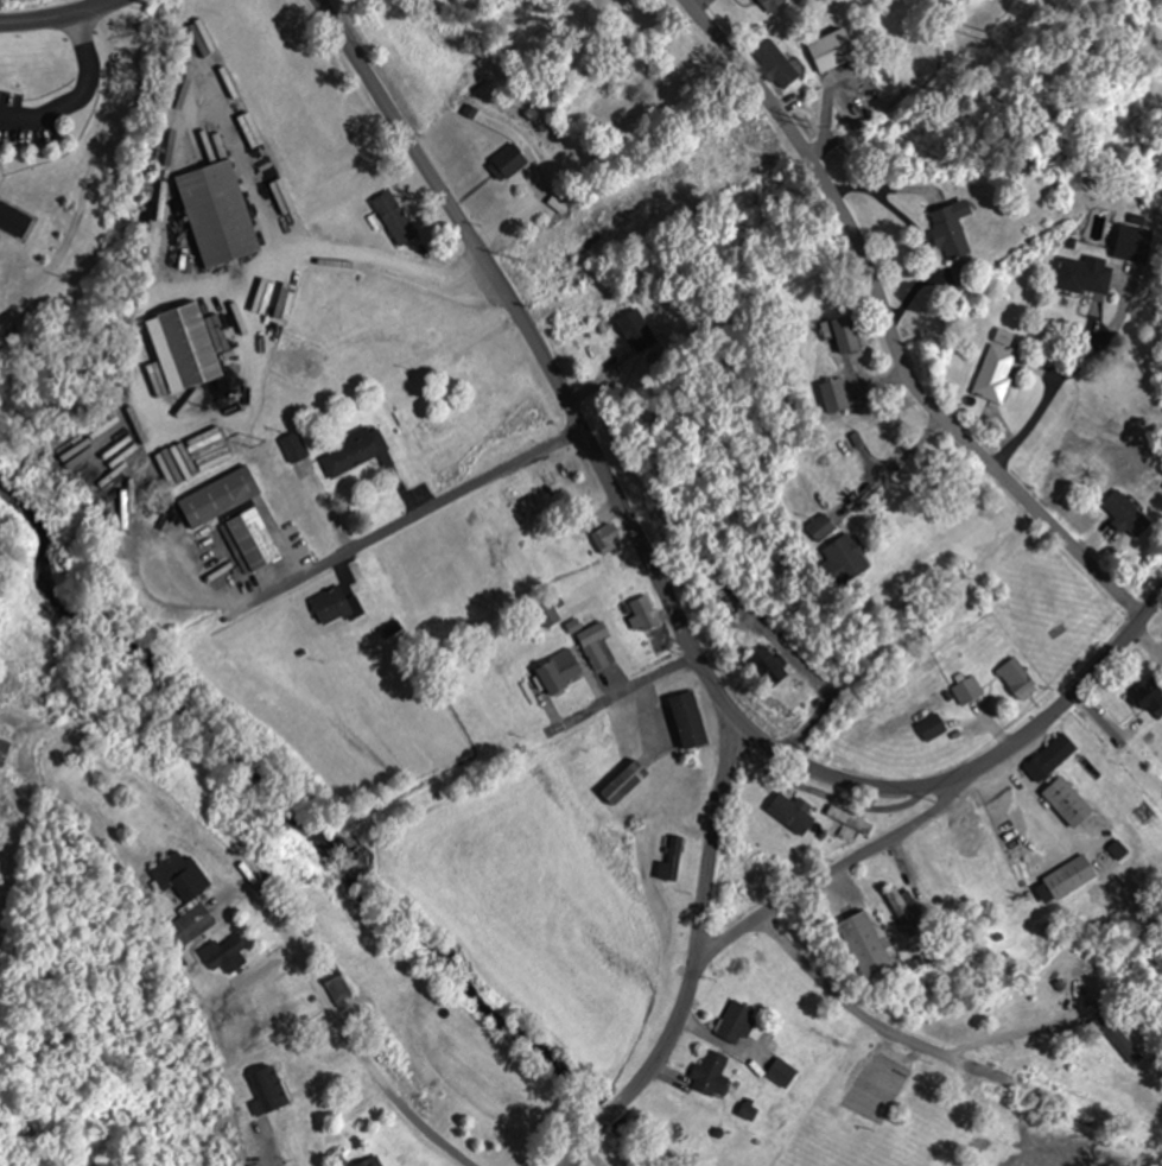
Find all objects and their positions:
building: (769, 4)
road: (52, 12)
building: (783, 46)
building: (831, 50)
building: (507, 161)
building: (216, 213)
building: (393, 218)
building: (14, 220)
building: (950, 232)
building: (1084, 274)
building: (635, 328)
road: (885, 328)
building: (842, 334)
building: (183, 348)
building: (993, 372)
building: (207, 449)
building: (353, 452)
building: (565, 470)
building: (217, 496)
building: (1125, 513)
road: (408, 517)
building: (820, 527)
building: (605, 539)
building: (248, 540)
building: (846, 557)
building: (713, 578)
road: (655, 585)
building: (335, 604)
building: (643, 611)
building: (592, 645)
building: (763, 661)
building: (557, 672)
building: (1016, 678)
building: (966, 690)
road: (623, 691)
building: (1149, 697)
road: (1098, 716)
building: (687, 720)
building: (931, 727)
building: (2, 749)
building: (1049, 758)
building: (623, 781)
building: (1066, 801)
building: (789, 813)
building: (847, 819)
building: (669, 857)
road: (834, 868)
building: (1068, 876)
building: (179, 880)
building: (1118, 899)
building: (901, 911)
building: (863, 945)
road: (691, 962)
building: (334, 982)
road: (356, 1009)
road: (865, 1019)
building: (734, 1024)
building: (707, 1071)
building: (781, 1072)
building: (369, 1162)

